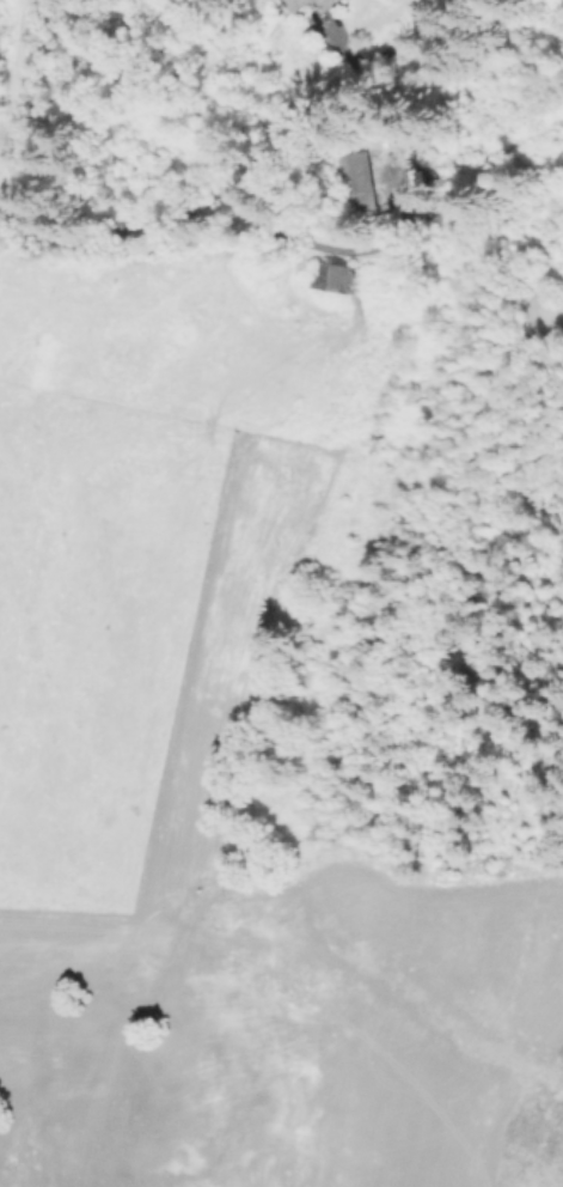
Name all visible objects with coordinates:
building: (319, 2)
building: (296, 4)
road: (333, 96)
building: (353, 184)
road: (292, 236)
building: (332, 280)

